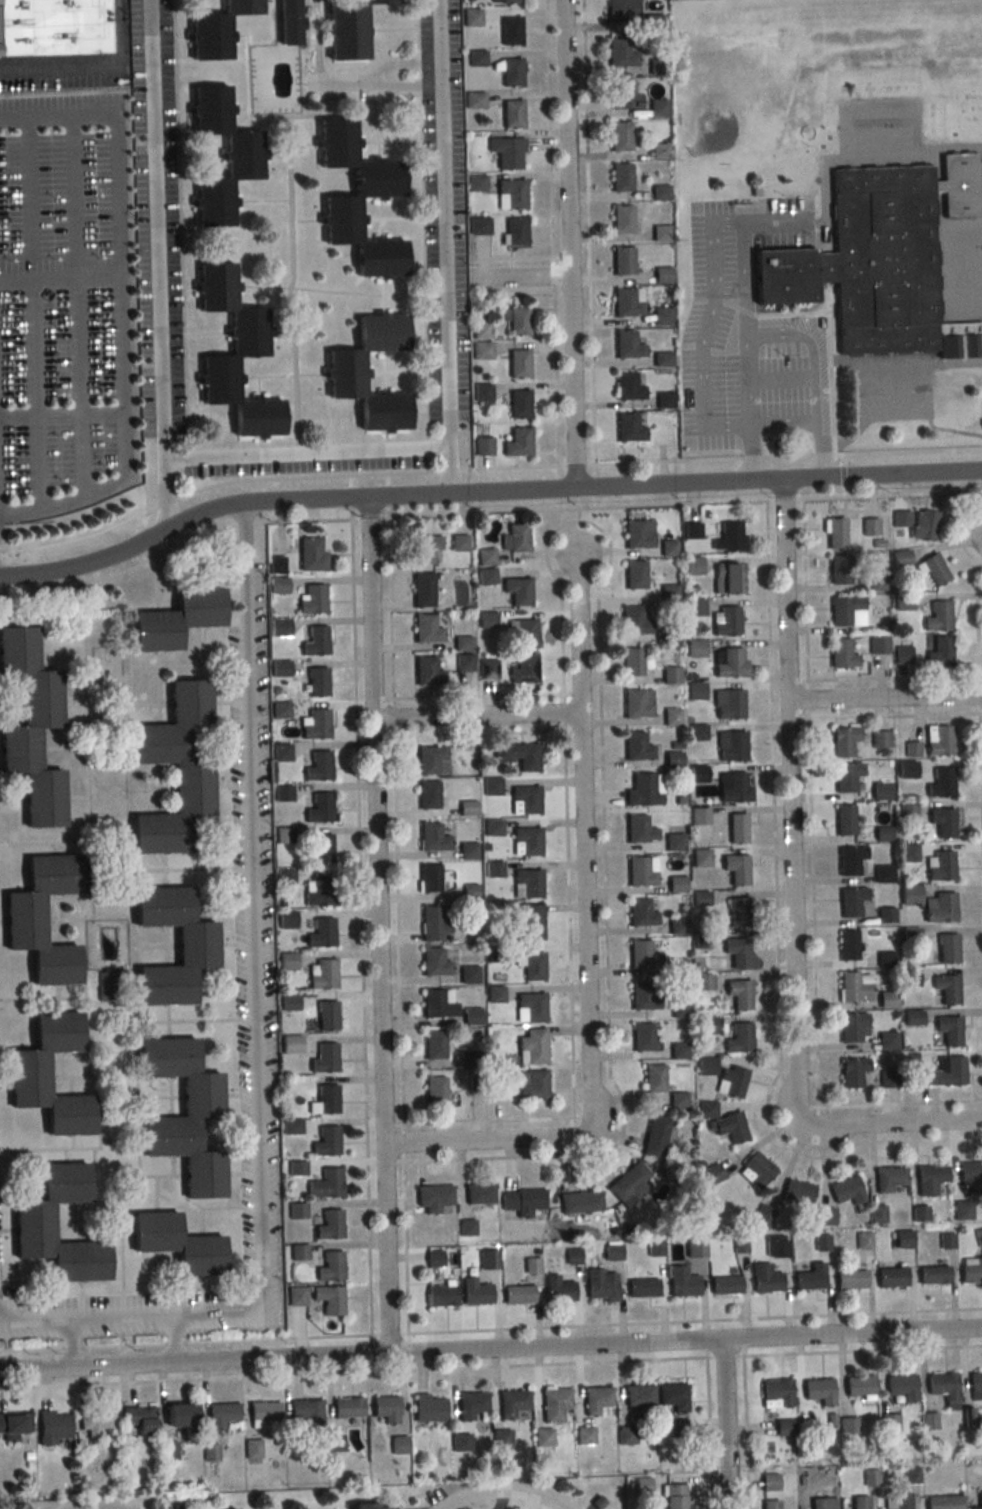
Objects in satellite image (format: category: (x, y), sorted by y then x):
building: (505, 1)
building: (621, 12)
building: (471, 17)
building: (287, 22)
building: (52, 25)
building: (214, 30)
building: (345, 30)
building: (510, 31)
building: (619, 54)
road: (87, 62)
building: (510, 72)
road: (374, 74)
road: (346, 77)
building: (621, 96)
building: (657, 108)
road: (58, 113)
building: (512, 114)
road: (553, 127)
building: (619, 137)
building: (658, 151)
building: (506, 152)
building: (240, 156)
building: (59, 169)
building: (620, 177)
road: (73, 182)
building: (476, 182)
road: (28, 184)
road: (118, 192)
building: (660, 192)
building: (510, 193)
building: (350, 197)
building: (621, 218)
building: (514, 231)
road: (590, 231)
building: (660, 232)
road: (568, 242)
building: (881, 259)
building: (622, 260)
road: (554, 274)
building: (661, 274)
road: (60, 275)
road: (517, 279)
building: (627, 301)
building: (663, 315)
building: (516, 320)
building: (480, 329)
road: (704, 331)
building: (627, 344)
road: (748, 348)
building: (233, 354)
building: (662, 359)
building: (518, 363)
building: (342, 372)
road: (813, 372)
road: (782, 374)
road: (124, 375)
road: (556, 379)
road: (79, 385)
building: (628, 385)
road: (34, 392)
building: (664, 400)
building: (518, 404)
road: (62, 413)
building: (628, 428)
road: (949, 428)
building: (517, 442)
road: (301, 451)
road: (576, 464)
road: (450, 469)
road: (484, 490)
road: (165, 491)
road: (893, 495)
road: (785, 499)
road: (66, 501)
road: (578, 509)
road: (579, 514)
road: (371, 517)
building: (917, 523)
building: (870, 526)
building: (691, 530)
building: (834, 533)
building: (636, 535)
building: (729, 537)
building: (515, 538)
building: (458, 542)
building: (424, 548)
building: (310, 554)
building: (485, 556)
building: (839, 569)
building: (933, 569)
building: (634, 574)
building: (486, 576)
building: (728, 578)
building: (876, 583)
road: (980, 583)
building: (423, 589)
road: (806, 589)
building: (516, 592)
building: (670, 593)
building: (312, 600)
road: (392, 607)
building: (847, 611)
building: (938, 616)
building: (173, 619)
building: (634, 621)
building: (725, 621)
building: (426, 629)
building: (525, 633)
building: (671, 634)
building: (315, 640)
building: (463, 643)
building: (877, 644)
building: (695, 647)
building: (939, 652)
building: (841, 654)
building: (902, 654)
building: (631, 661)
building: (729, 662)
building: (463, 663)
building: (488, 669)
building: (524, 669)
building: (427, 672)
building: (671, 675)
road: (895, 677)
building: (317, 681)
road: (981, 694)
road: (479, 695)
road: (808, 697)
road: (885, 701)
building: (637, 703)
building: (728, 703)
road: (564, 711)
road: (896, 714)
road: (395, 716)
road: (474, 717)
building: (672, 717)
building: (315, 724)
building: (30, 729)
building: (697, 732)
road: (480, 733)
building: (880, 740)
building: (940, 740)
building: (846, 742)
building: (731, 745)
building: (637, 746)
building: (912, 749)
building: (281, 752)
building: (519, 755)
building: (673, 759)
building: (431, 760)
building: (318, 766)
building: (171, 770)
building: (906, 770)
building: (847, 778)
building: (941, 783)
building: (734, 787)
building: (645, 790)
building: (427, 794)
building: (525, 800)
road: (790, 802)
building: (319, 808)
building: (467, 808)
building: (844, 819)
building: (942, 822)
building: (492, 828)
building: (639, 828)
building: (737, 828)
building: (432, 837)
road: (604, 838)
building: (526, 841)
building: (674, 841)
road: (581, 844)
building: (322, 848)
building: (908, 852)
building: (850, 859)
building: (939, 865)
building: (735, 869)
building: (641, 870)
building: (883, 873)
building: (435, 879)
building: (527, 883)
building: (318, 891)
building: (909, 894)
building: (851, 901)
building: (939, 907)
road: (814, 910)
building: (641, 912)
building: (737, 912)
building: (885, 914)
building: (21, 919)
building: (286, 919)
building: (531, 921)
building: (434, 922)
road: (362, 926)
road: (376, 926)
building: (677, 926)
road: (777, 926)
road: (400, 929)
building: (321, 933)
building: (847, 944)
building: (193, 947)
building: (947, 948)
building: (737, 952)
building: (642, 955)
building: (286, 961)
building: (434, 962)
road: (253, 963)
building: (532, 967)
building: (321, 974)
building: (469, 974)
building: (889, 977)
building: (703, 982)
building: (854, 986)
building: (945, 989)
building: (495, 994)
building: (738, 994)
building: (643, 995)
building: (886, 999)
building: (438, 1003)
building: (530, 1008)
road: (572, 1009)
building: (326, 1016)
building: (912, 1018)
building: (706, 1025)
building: (854, 1027)
building: (949, 1029)
building: (641, 1037)
building: (739, 1038)
building: (887, 1041)
building: (290, 1045)
building: (433, 1045)
building: (532, 1047)
building: (679, 1051)
building: (324, 1059)
building: (705, 1066)
building: (852, 1072)
building: (946, 1072)
building: (26, 1074)
building: (653, 1078)
building: (888, 1079)
building: (731, 1082)
building: (531, 1084)
building: (434, 1091)
building: (324, 1100)
building: (678, 1100)
road: (900, 1101)
building: (180, 1115)
building: (290, 1126)
road: (893, 1126)
building: (730, 1127)
building: (655, 1135)
building: (326, 1141)
road: (405, 1142)
road: (483, 1144)
building: (296, 1167)
building: (755, 1170)
building: (970, 1178)
building: (888, 1179)
building: (929, 1179)
building: (326, 1183)
building: (628, 1184)
building: (846, 1191)
building: (795, 1193)
building: (478, 1195)
building: (433, 1198)
building: (522, 1201)
building: (580, 1202)
building: (296, 1210)
building: (962, 1210)
building: (826, 1216)
building: (37, 1222)
building: (329, 1225)
building: (978, 1237)
building: (903, 1239)
building: (863, 1241)
building: (947, 1241)
building: (821, 1242)
building: (174, 1244)
road: (407, 1247)
building: (780, 1247)
building: (434, 1258)
building: (488, 1260)
building: (531, 1265)
building: (330, 1266)
building: (971, 1270)
building: (932, 1275)
building: (891, 1278)
building: (765, 1279)
building: (809, 1279)
building: (850, 1280)
building: (682, 1282)
building: (601, 1285)
building: (725, 1285)
building: (642, 1288)
building: (558, 1290)
building: (475, 1293)
building: (518, 1295)
building: (295, 1296)
building: (440, 1296)
building: (328, 1299)
road: (63, 1317)
road: (696, 1320)
road: (390, 1333)
road: (173, 1340)
road: (186, 1342)
road: (73, 1343)
road: (863, 1350)
road: (491, 1352)
road: (725, 1355)
road: (353, 1371)
building: (859, 1385)
building: (901, 1386)
building: (944, 1388)
building: (819, 1390)
building: (775, 1393)
building: (638, 1395)
building: (672, 1398)
building: (596, 1399)
building: (512, 1402)
building: (554, 1403)
building: (470, 1405)
building: (347, 1407)
building: (428, 1408)
building: (385, 1409)
building: (263, 1410)
building: (223, 1414)
building: (305, 1414)
building: (185, 1415)
building: (143, 1419)
building: (98, 1420)
building: (929, 1420)
building: (889, 1422)
building: (14, 1424)
building: (56, 1426)
road: (725, 1426)
building: (677, 1428)
road: (708, 1432)
road: (746, 1432)
building: (585, 1435)
building: (625, 1435)
building: (543, 1437)
building: (501, 1438)
building: (460, 1442)
building: (252, 1449)
building: (169, 1450)
building: (769, 1481)
road: (500, 1495)
building: (673, 1496)
building: (902, 1500)
building: (978, 1500)
building: (942, 1501)
building: (860, 1502)
building: (823, 1503)
building: (769, 1504)
building: (373, 1506)

